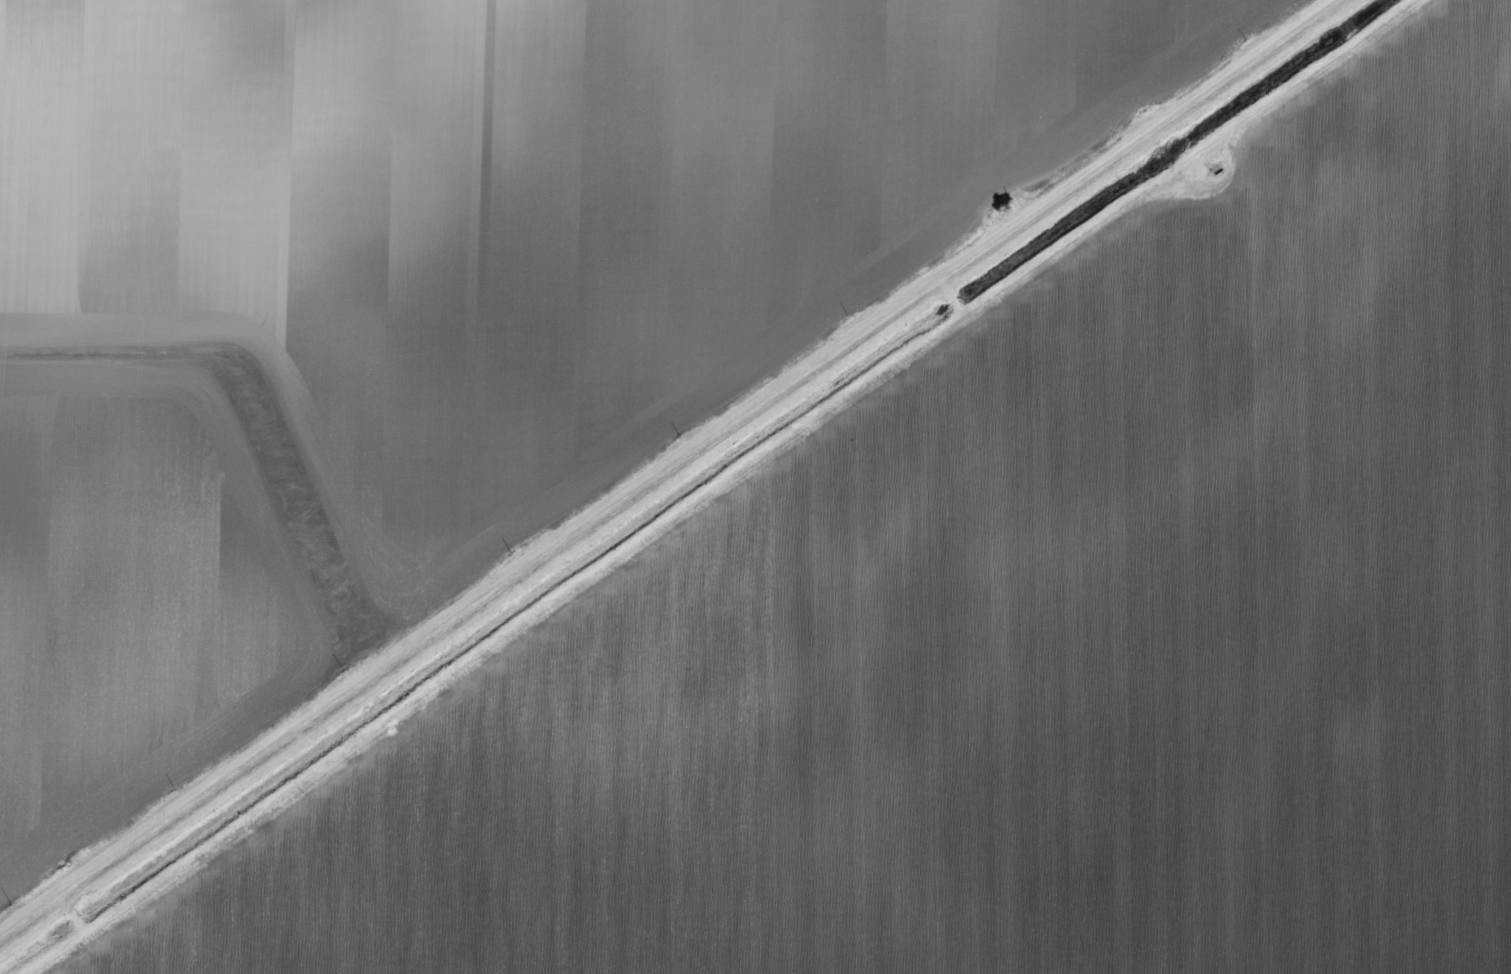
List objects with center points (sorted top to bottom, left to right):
road: (666, 442)

